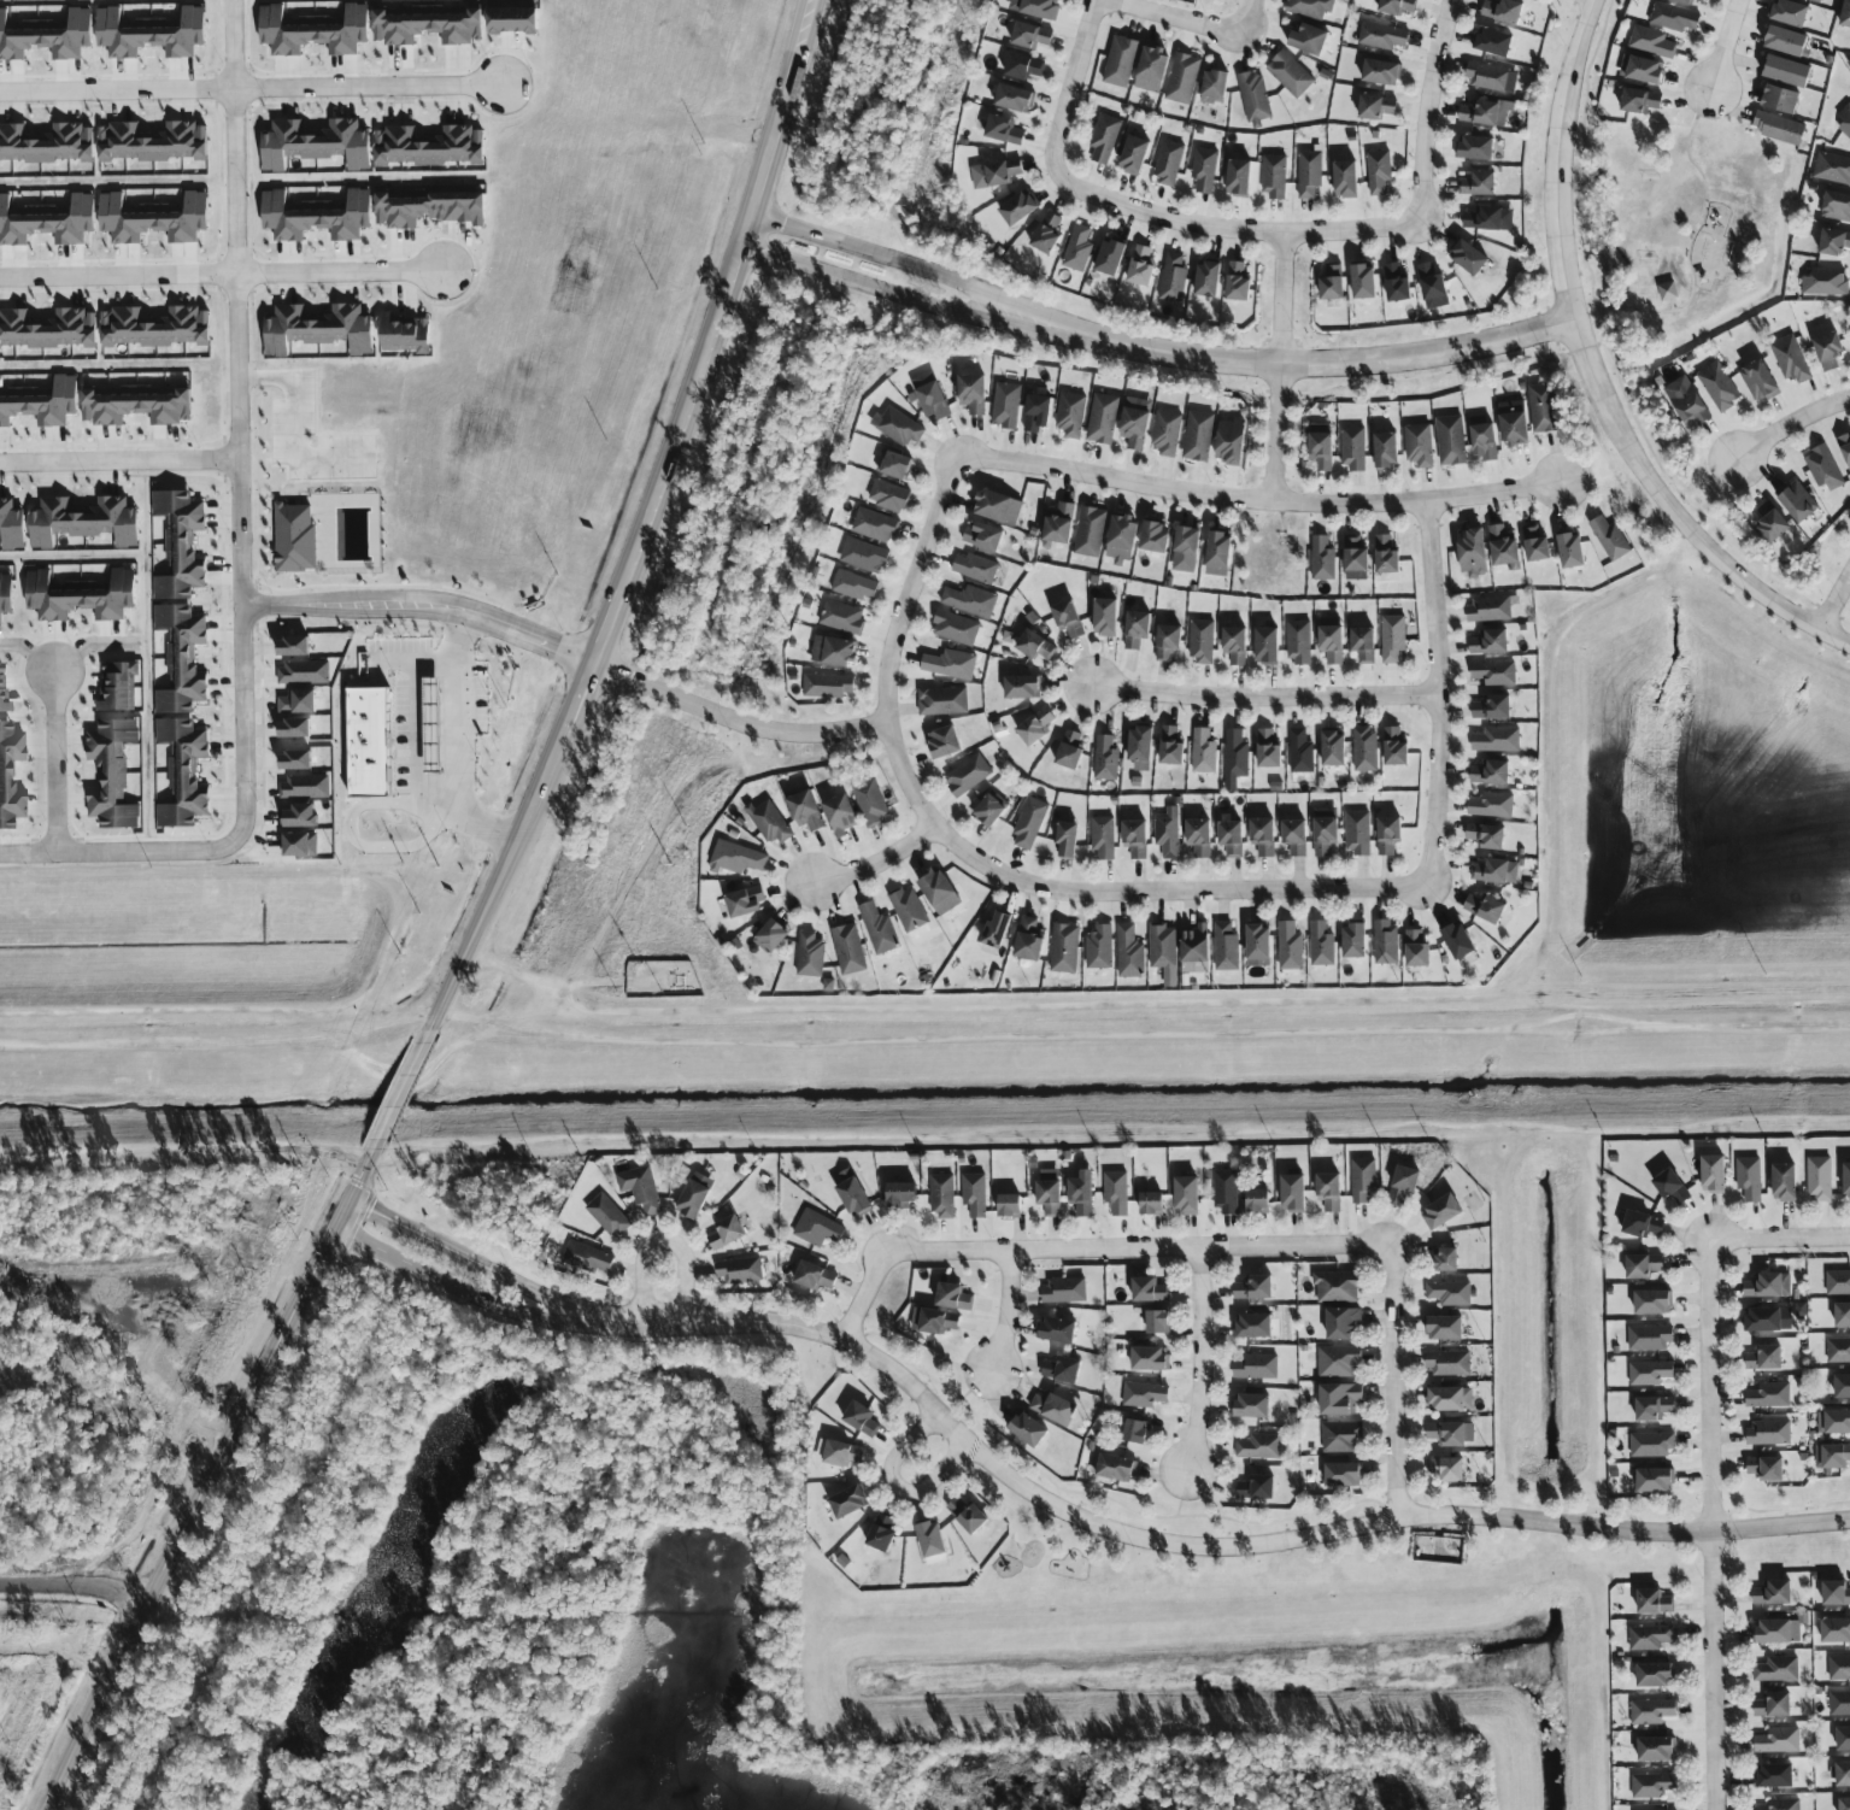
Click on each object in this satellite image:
building: (1816, 0)
building: (1687, 1)
building: (1397, 6)
building: (1035, 7)
building: (1309, 7)
road: (1255, 11)
building: (1503, 11)
building: (1790, 12)
building: (1845, 14)
building: (1673, 17)
road: (1187, 18)
building: (511, 19)
building: (427, 25)
building: (312, 30)
building: (149, 34)
building: (47, 35)
building: (1030, 35)
building: (1381, 36)
building: (1309, 39)
building: (1787, 41)
building: (1493, 42)
building: (1651, 42)
road: (1725, 45)
building: (1120, 61)
building: (1023, 66)
building: (1151, 69)
building: (1641, 70)
building: (1787, 71)
building: (1380, 72)
road: (792, 74)
road: (1077, 74)
building: (1290, 74)
building: (1490, 77)
building: (1182, 78)
building: (1214, 84)
road: (251, 87)
building: (1253, 96)
building: (1014, 98)
building: (1780, 99)
building: (1640, 101)
road: (1434, 102)
building: (1375, 107)
building: (1485, 112)
building: (1845, 121)
building: (1778, 128)
building: (1004, 130)
building: (1104, 137)
building: (152, 142)
building: (47, 143)
building: (315, 143)
building: (428, 146)
building: (1476, 148)
building: (1133, 155)
building: (1167, 161)
building: (1832, 168)
building: (1203, 170)
building: (1378, 171)
building: (994, 174)
building: (1309, 174)
building: (1273, 176)
building: (1238, 177)
building: (1345, 178)
building: (1478, 183)
road: (757, 189)
building: (1836, 206)
building: (429, 208)
building: (1018, 208)
building: (316, 216)
building: (152, 218)
building: (1488, 218)
building: (47, 221)
road: (1229, 228)
park: (1693, 233)
building: (1047, 234)
building: (1834, 242)
building: (1077, 248)
building: (1110, 257)
building: (1469, 258)
road: (915, 266)
building: (1140, 266)
road: (342, 272)
road: (119, 275)
building: (1173, 278)
road: (1693, 278)
building: (1206, 280)
building: (1237, 282)
building: (1331, 282)
building: (1363, 282)
building: (1825, 282)
building: (1396, 284)
building: (1432, 287)
road: (906, 295)
building: (1666, 295)
building: (153, 327)
building: (47, 329)
building: (318, 329)
building: (404, 334)
building: (1828, 351)
building: (1791, 359)
road: (1329, 360)
road: (1286, 368)
road: (1593, 374)
building: (1760, 381)
building: (1717, 387)
building: (971, 393)
building: (929, 395)
building: (1687, 401)
building: (40, 402)
building: (134, 405)
building: (1005, 405)
building: (1541, 407)
road: (681, 410)
building: (1036, 413)
building: (1070, 415)
road: (239, 418)
road: (301, 419)
building: (1102, 419)
building: (1135, 423)
building: (1514, 423)
road: (1792, 425)
building: (898, 427)
building: (1165, 433)
building: (1198, 436)
building: (1482, 437)
building: (1450, 440)
parking lot: (318, 441)
building: (1231, 442)
building: (1419, 445)
building: (1321, 446)
building: (1352, 448)
building: (1845, 448)
building: (1386, 451)
road: (119, 460)
building: (895, 465)
building: (1823, 468)
building: (888, 495)
road: (1255, 498)
building: (1797, 501)
building: (998, 507)
building: (83, 522)
building: (1772, 523)
building: (11, 525)
building: (874, 525)
building: (1059, 525)
building: (1090, 531)
building: (983, 536)
building: (1155, 537)
building: (295, 539)
building: (1121, 539)
building: (1609, 539)
building: (180, 545)
building: (1503, 546)
building: (1535, 546)
building: (1186, 550)
building: (1570, 551)
building: (1473, 553)
building: (1217, 554)
building: (863, 556)
building: (1385, 556)
building: (1322, 559)
building: (1355, 559)
building: (975, 568)
building: (853, 586)
building: (5, 593)
building: (80, 597)
building: (970, 600)
road: (1836, 603)
road: (423, 609)
building: (1488, 609)
building: (841, 617)
building: (1068, 618)
building: (1105, 618)
road: (1846, 622)
road: (606, 627)
building: (955, 628)
building: (1137, 629)
building: (1392, 639)
building: (1331, 640)
building: (1200, 641)
building: (1298, 641)
building: (1168, 642)
building: (1490, 642)
road: (87, 645)
building: (1234, 645)
building: (1363, 645)
building: (1034, 646)
building: (1267, 646)
building: (834, 651)
road: (28, 652)
building: (181, 659)
building: (950, 664)
building: (303, 672)
building: (1493, 674)
building: (827, 686)
building: (118, 687)
building: (1022, 688)
building: (1, 689)
road: (1441, 692)
building: (942, 701)
road: (1268, 701)
building: (296, 703)
building: (1492, 707)
road: (736, 723)
building: (1035, 728)
building: (293, 729)
building: (1497, 740)
road: (460, 742)
building: (944, 742)
building: (1170, 747)
building: (1394, 747)
building: (1364, 748)
building: (1140, 750)
building: (1268, 750)
building: (1333, 750)
building: (1069, 751)
building: (1203, 752)
building: (1300, 752)
building: (1105, 758)
building: (1235, 758)
road: (55, 759)
building: (294, 760)
building: (182, 772)
building: (111, 774)
building: (1490, 774)
building: (967, 775)
building: (10, 776)
building: (303, 787)
building: (870, 803)
building: (1491, 805)
building: (991, 810)
building: (805, 811)
building: (840, 815)
building: (298, 817)
building: (771, 823)
building: (1028, 823)
building: (1325, 830)
building: (1167, 833)
building: (1357, 833)
building: (1388, 835)
building: (1263, 836)
building: (1486, 836)
building: (1103, 838)
building: (1199, 838)
building: (1231, 838)
building: (1294, 838)
building: (1135, 839)
building: (1067, 840)
building: (299, 845)
road: (512, 847)
road: (122, 848)
building: (736, 859)
road: (877, 860)
road: (987, 865)
building: (1494, 872)
building: (938, 892)
building: (744, 903)
building: (1485, 909)
building: (909, 910)
building: (877, 929)
building: (994, 934)
building: (770, 936)
building: (1029, 940)
building: (1353, 942)
building: (1386, 942)
building: (1458, 942)
building: (1194, 944)
building: (1321, 945)
building: (1258, 946)
building: (1288, 946)
building: (1224, 947)
building: (1064, 948)
building: (1099, 948)
building: (848, 950)
building: (1416, 951)
building: (1129, 952)
building: (1163, 952)
building: (810, 954)
building: (1196, 966)
road: (891, 1065)
road: (406, 1083)
river: (924, 1085)
building: (1713, 1173)
building: (1749, 1177)
building: (1817, 1177)
building: (1363, 1180)
building: (1846, 1181)
building: (1403, 1182)
building: (1784, 1182)
building: (1670, 1185)
building: (640, 1187)
building: (1049, 1191)
building: (1329, 1191)
building: (1116, 1192)
building: (1224, 1192)
building: (899, 1193)
building: (974, 1193)
building: (1081, 1193)
building: (1292, 1193)
building: (694, 1194)
building: (1186, 1194)
building: (941, 1195)
building: (853, 1197)
building: (1257, 1200)
building: (1151, 1203)
building: (1009, 1205)
building: (1441, 1210)
building: (607, 1215)
building: (1641, 1223)
building: (817, 1228)
building: (726, 1232)
road: (1779, 1238)
road: (669, 1246)
road: (1088, 1250)
building: (587, 1257)
building: (1447, 1259)
road: (476, 1263)
building: (1643, 1265)
building: (740, 1270)
building: (814, 1276)
building: (1838, 1282)
building: (1768, 1285)
building: (1335, 1286)
building: (1253, 1287)
road: (464, 1289)
building: (1064, 1289)
building: (1149, 1289)
building: (1449, 1293)
building: (953, 1297)
building: (1652, 1301)
road: (1005, 1311)
building: (1843, 1315)
building: (1769, 1318)
building: (934, 1321)
building: (1157, 1321)
building: (1341, 1322)
building: (1253, 1324)
building: (1445, 1327)
building: (1057, 1329)
building: (1649, 1338)
building: (1838, 1351)
building: (1149, 1358)
road: (1202, 1358)
building: (1764, 1358)
building: (1338, 1362)
building: (1447, 1363)
building: (1255, 1367)
building: (1062, 1369)
building: (1649, 1373)
road: (1394, 1382)
building: (1842, 1386)
building: (1144, 1394)
building: (1768, 1395)
building: (1339, 1398)
building: (1450, 1398)
building: (1252, 1405)
building: (1052, 1408)
building: (1654, 1408)
building: (861, 1418)
building: (1833, 1422)
building: (1028, 1429)
building: (1135, 1430)
building: (1768, 1432)
building: (1451, 1433)
building: (1340, 1435)
building: (1651, 1445)
building: (1258, 1446)
building: (838, 1452)
building: (1832, 1456)
road: (989, 1462)
building: (1115, 1467)
building: (1766, 1468)
building: (1447, 1469)
road: (216, 1474)
building: (1343, 1474)
building: (1655, 1480)
building: (1257, 1487)
road: (900, 1489)
building: (847, 1500)
building: (968, 1515)
road: (1709, 1523)
road: (1622, 1529)
building: (881, 1533)
building: (932, 1542)
road: (78, 1586)
building: (1773, 1593)
building: (1836, 1593)
building: (1654, 1602)
building: (1778, 1630)
building: (1834, 1630)
building: (1649, 1636)
road: (54, 1659)
building: (1838, 1668)
building: (1776, 1669)
building: (1655, 1675)
building: (1839, 1703)
building: (1773, 1705)
building: (1651, 1711)
building: (1843, 1739)
building: (1778, 1740)
building: (1656, 1749)
building: (1843, 1774)
building: (1775, 1775)
building: (1652, 1785)
building: (1781, 1804)
building: (1844, 1804)

